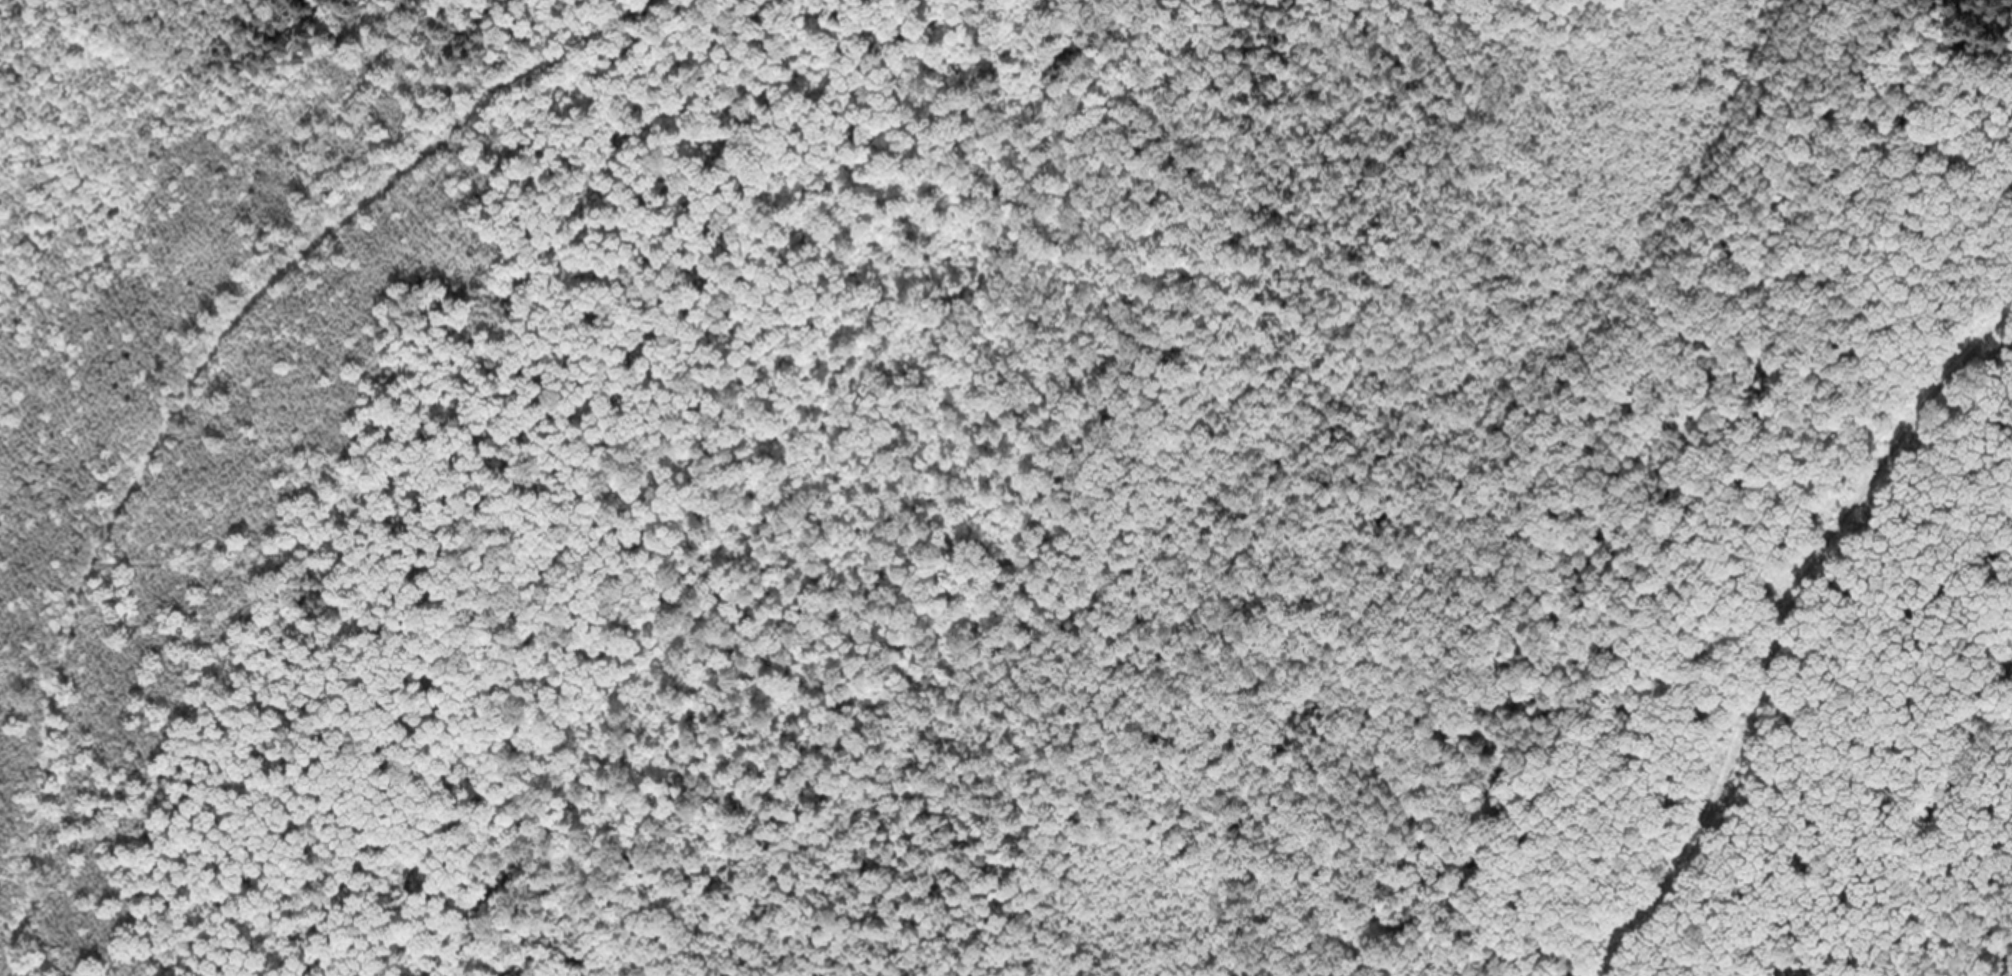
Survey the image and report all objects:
road: (1791, 634)

